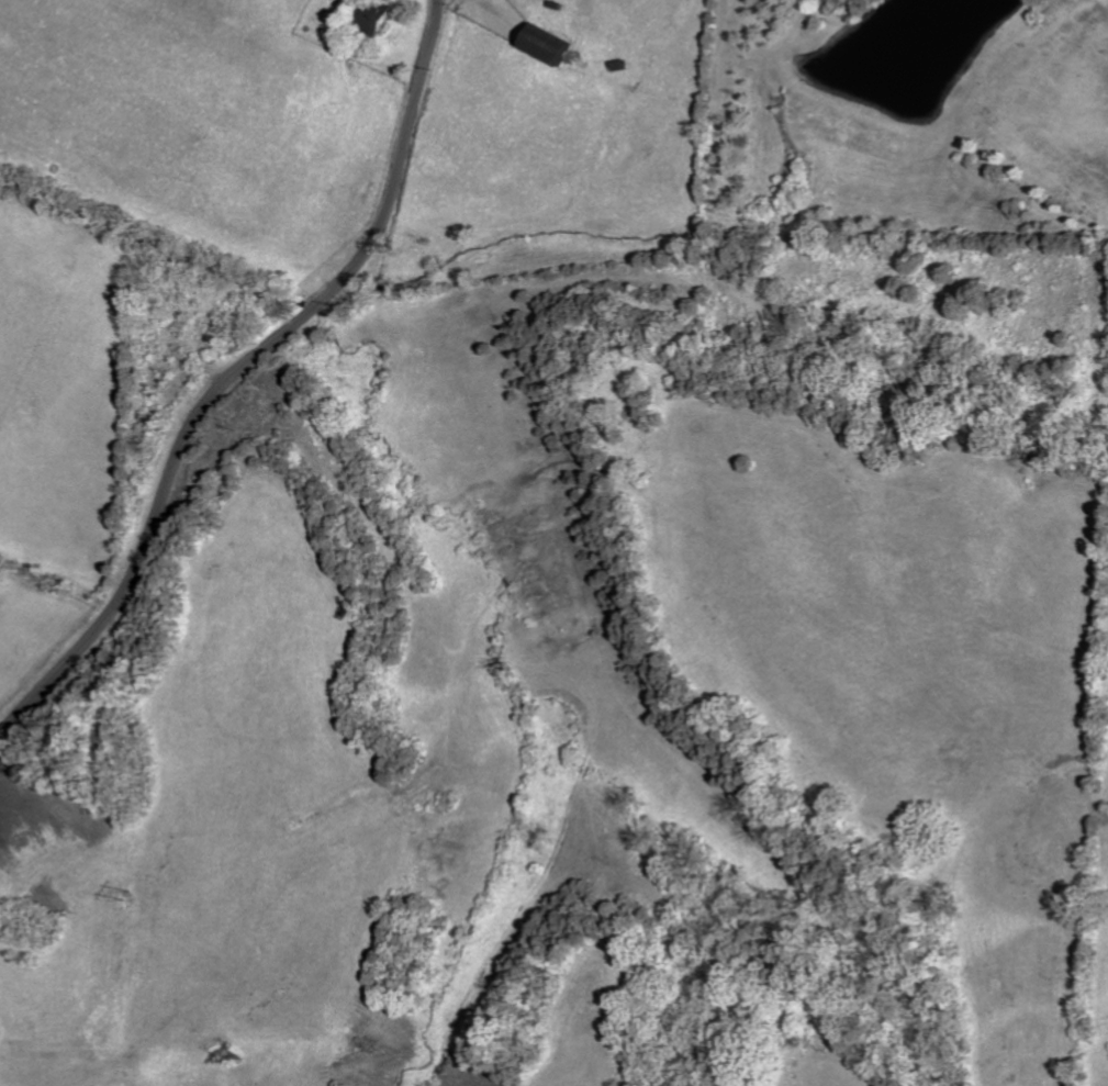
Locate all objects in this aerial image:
building: (381, 16)
building: (558, 46)
road: (239, 370)

